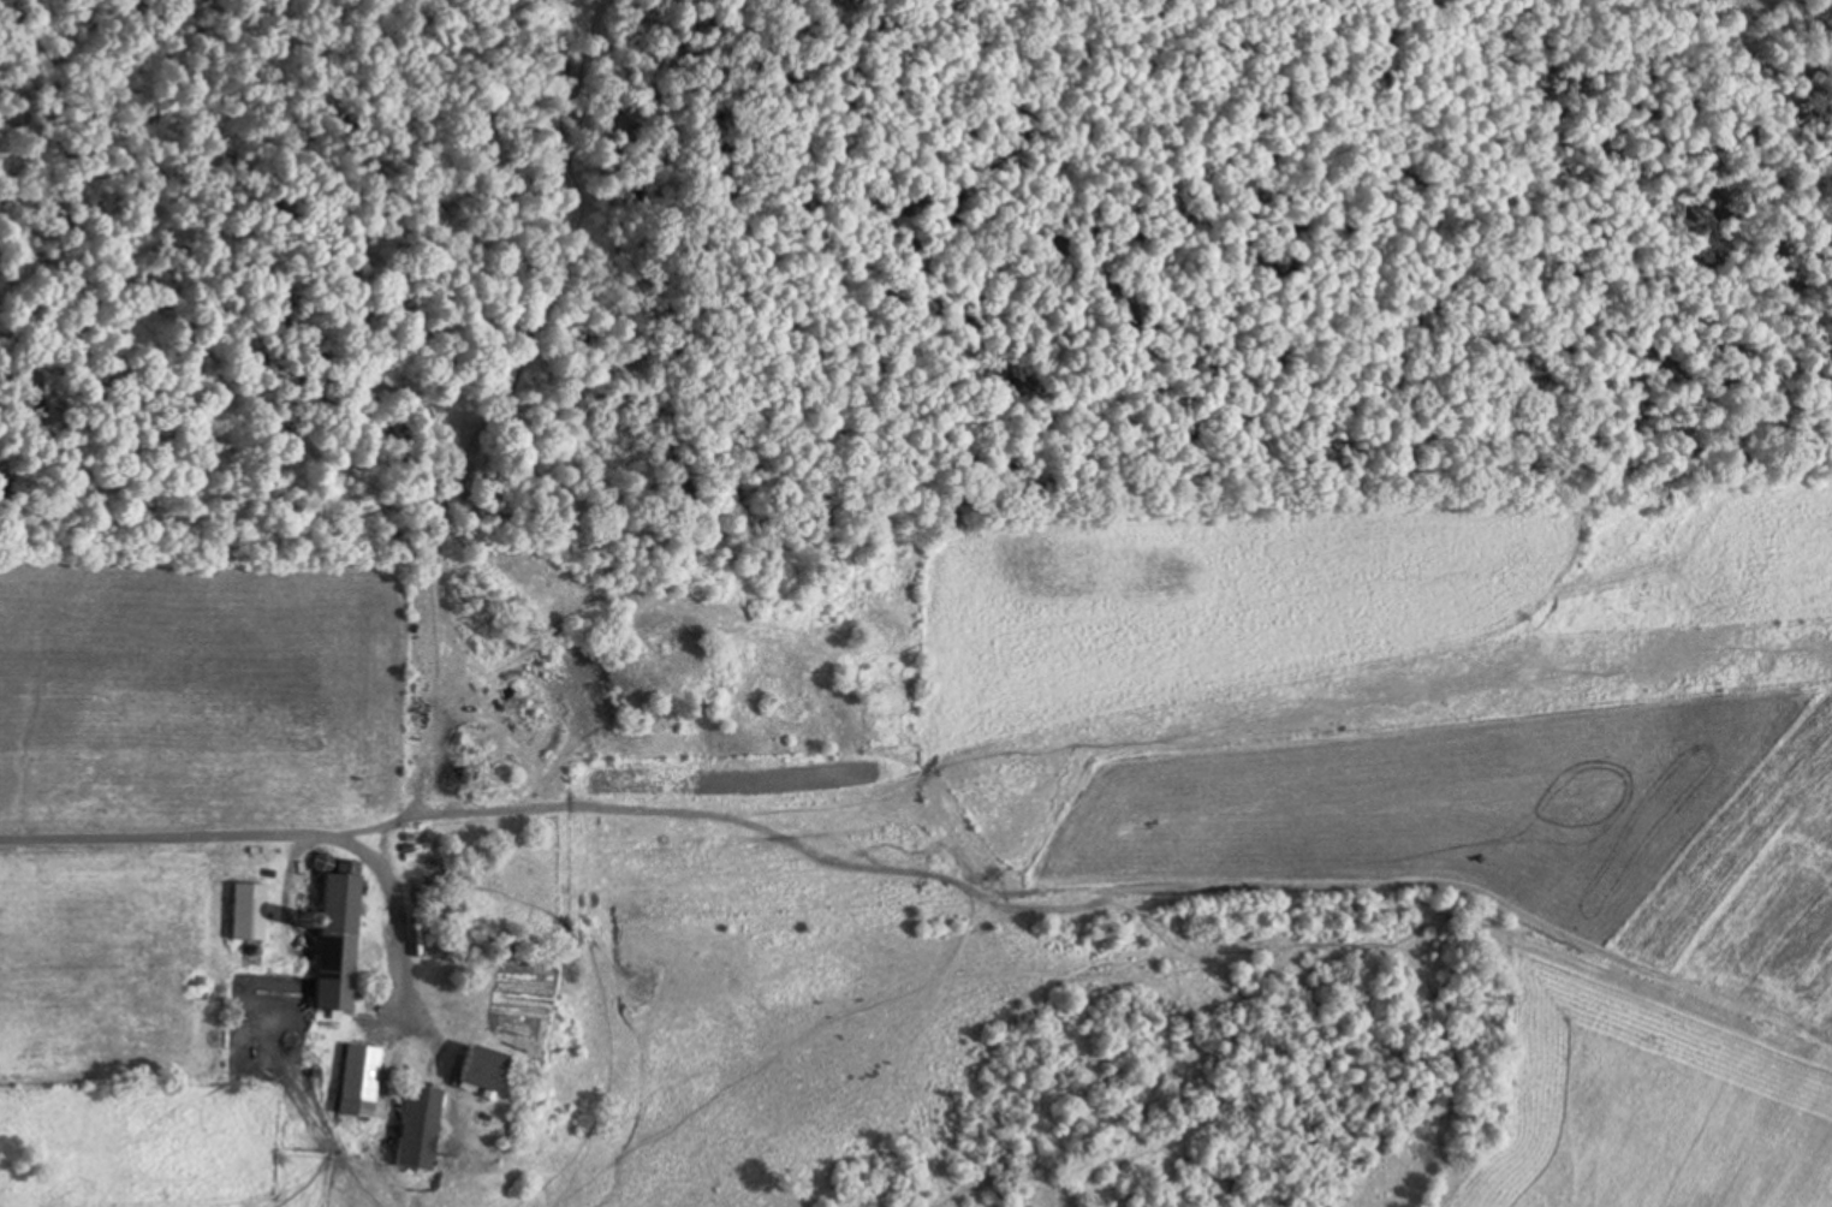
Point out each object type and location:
road: (108, 814)
building: (335, 940)
building: (471, 1075)
building: (414, 1125)

